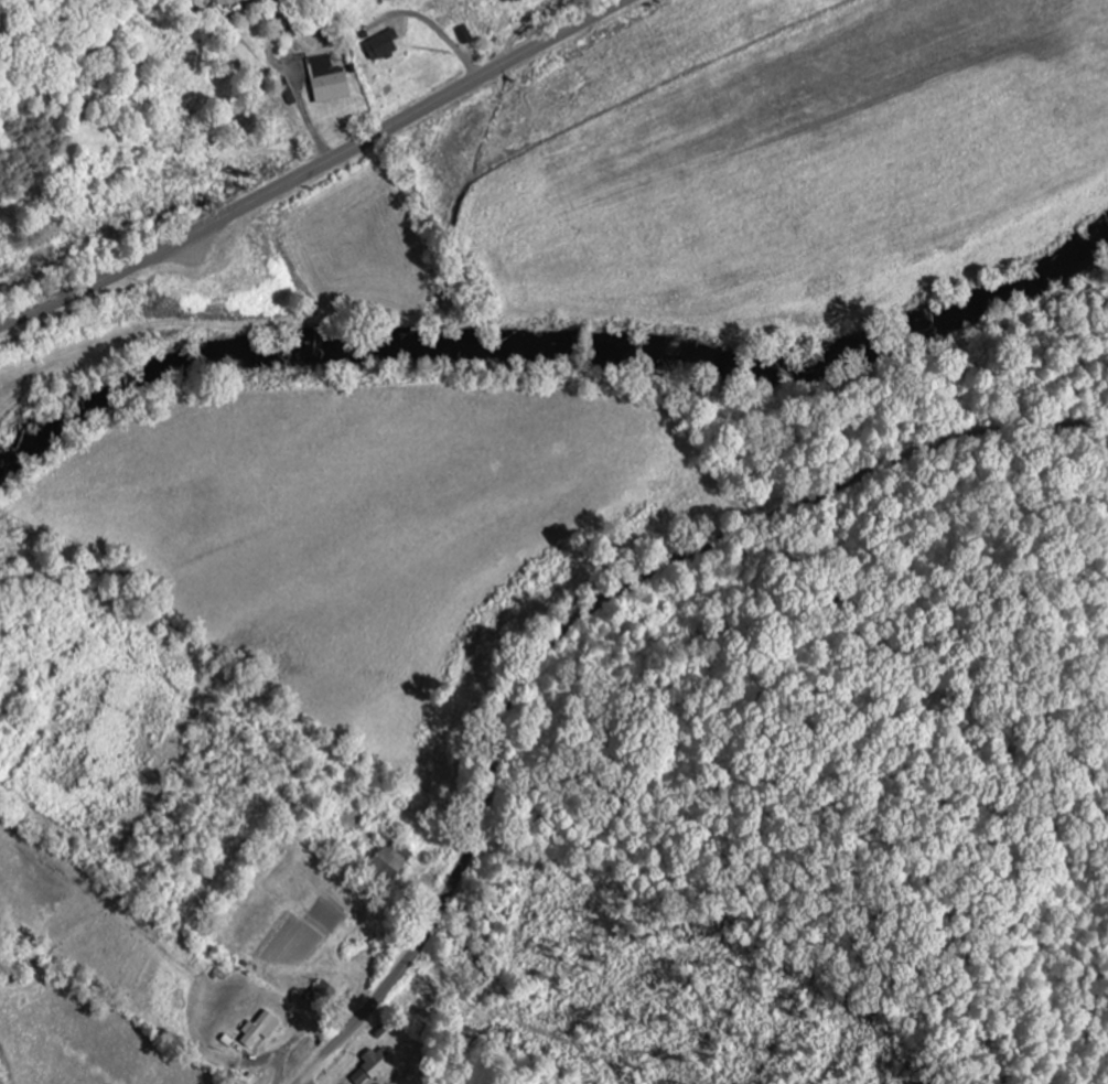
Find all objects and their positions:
building: (507, 0)
building: (465, 35)
building: (383, 47)
building: (329, 81)
road: (318, 170)
road: (591, 615)
building: (389, 866)
building: (322, 998)
building: (261, 1030)
building: (374, 1066)

